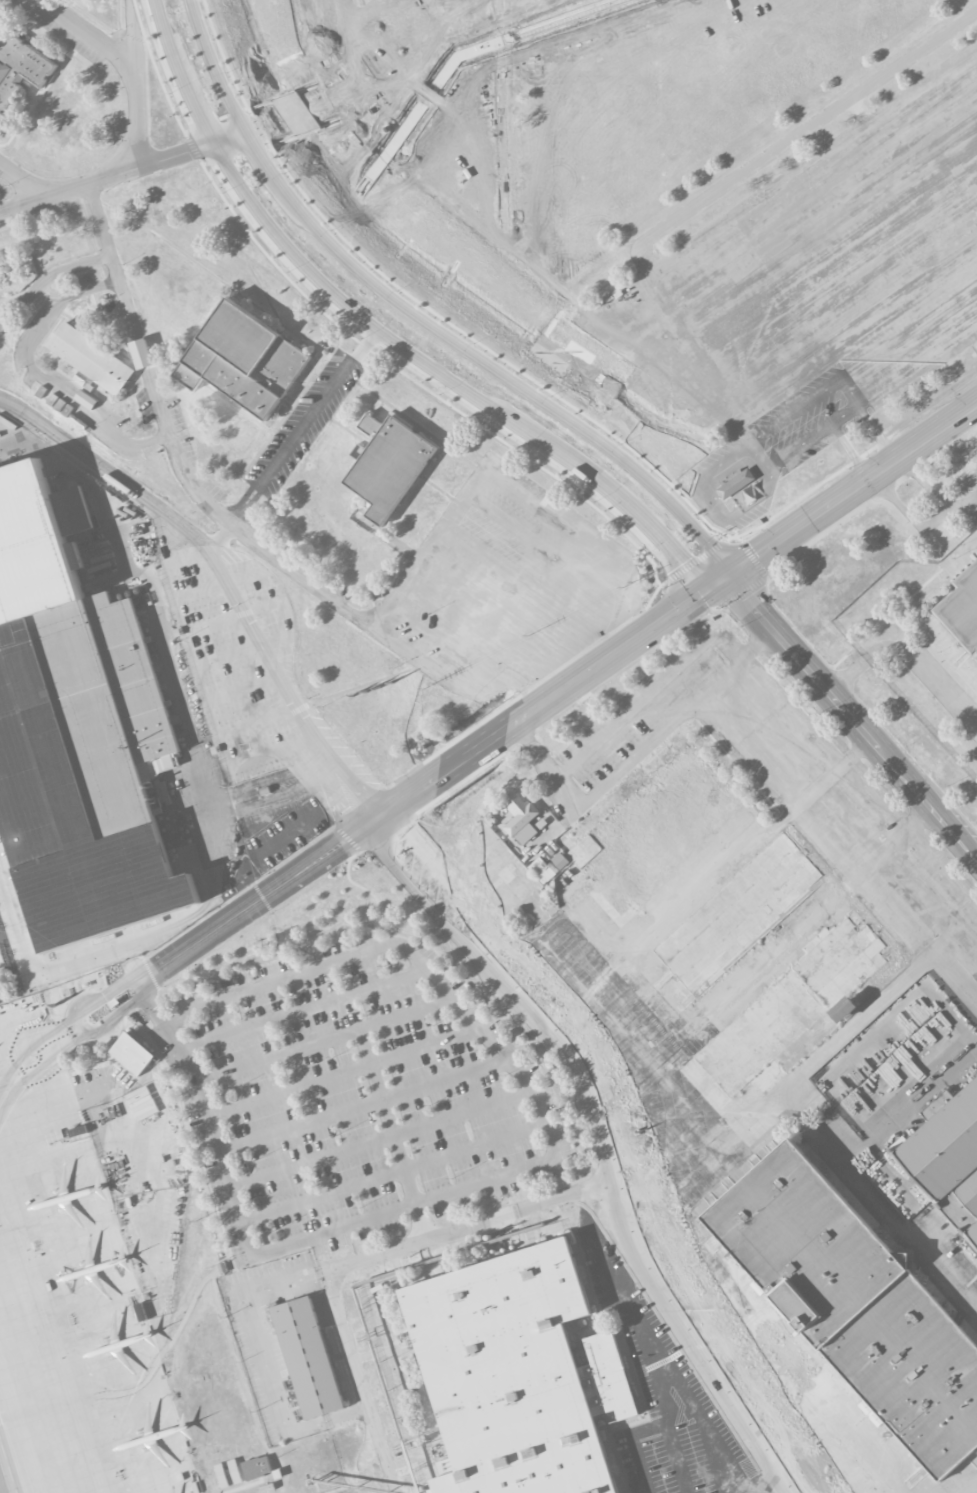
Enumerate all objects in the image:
road: (571, 15)
road: (499, 20)
road: (126, 65)
building: (20, 68)
road: (214, 68)
road: (179, 73)
road: (372, 86)
road: (414, 109)
road: (122, 172)
road: (25, 181)
road: (713, 238)
road: (664, 246)
building: (1, 268)
road: (633, 272)
road: (54, 277)
road: (606, 301)
building: (0, 328)
building: (141, 353)
building: (90, 358)
road: (483, 359)
building: (243, 360)
road: (39, 377)
building: (81, 378)
road: (876, 379)
road: (453, 381)
road: (304, 426)
building: (389, 468)
building: (734, 484)
road: (517, 493)
road: (851, 493)
road: (224, 517)
road: (426, 549)
road: (222, 578)
traffic signals: (726, 579)
building: (962, 611)
road: (610, 615)
road: (701, 649)
road: (909, 659)
road: (738, 663)
road: (801, 663)
building: (76, 731)
road: (750, 749)
road: (851, 755)
road: (604, 785)
road: (816, 786)
road: (415, 793)
road: (926, 804)
building: (520, 817)
building: (654, 828)
road: (894, 838)
building: (547, 867)
road: (887, 900)
building: (736, 913)
road: (407, 934)
road: (312, 944)
building: (840, 964)
road: (469, 974)
road: (280, 979)
road: (151, 1006)
road: (866, 1016)
road: (486, 1025)
road: (324, 1039)
building: (723, 1042)
building: (132, 1054)
road: (344, 1075)
building: (768, 1075)
building: (717, 1094)
parking lot: (355, 1096)
road: (362, 1105)
road: (392, 1136)
road: (600, 1145)
building: (948, 1155)
road: (715, 1165)
road: (886, 1176)
road: (466, 1230)
airport: (156, 1293)
airport apron: (69, 1298)
building: (857, 1302)
building: (308, 1357)
building: (510, 1375)
road: (362, 1385)
road: (692, 1406)
road: (646, 1429)
road: (676, 1458)
building: (256, 1467)
building: (234, 1471)
building: (221, 1475)
road: (964, 1480)
road: (769, 1485)

